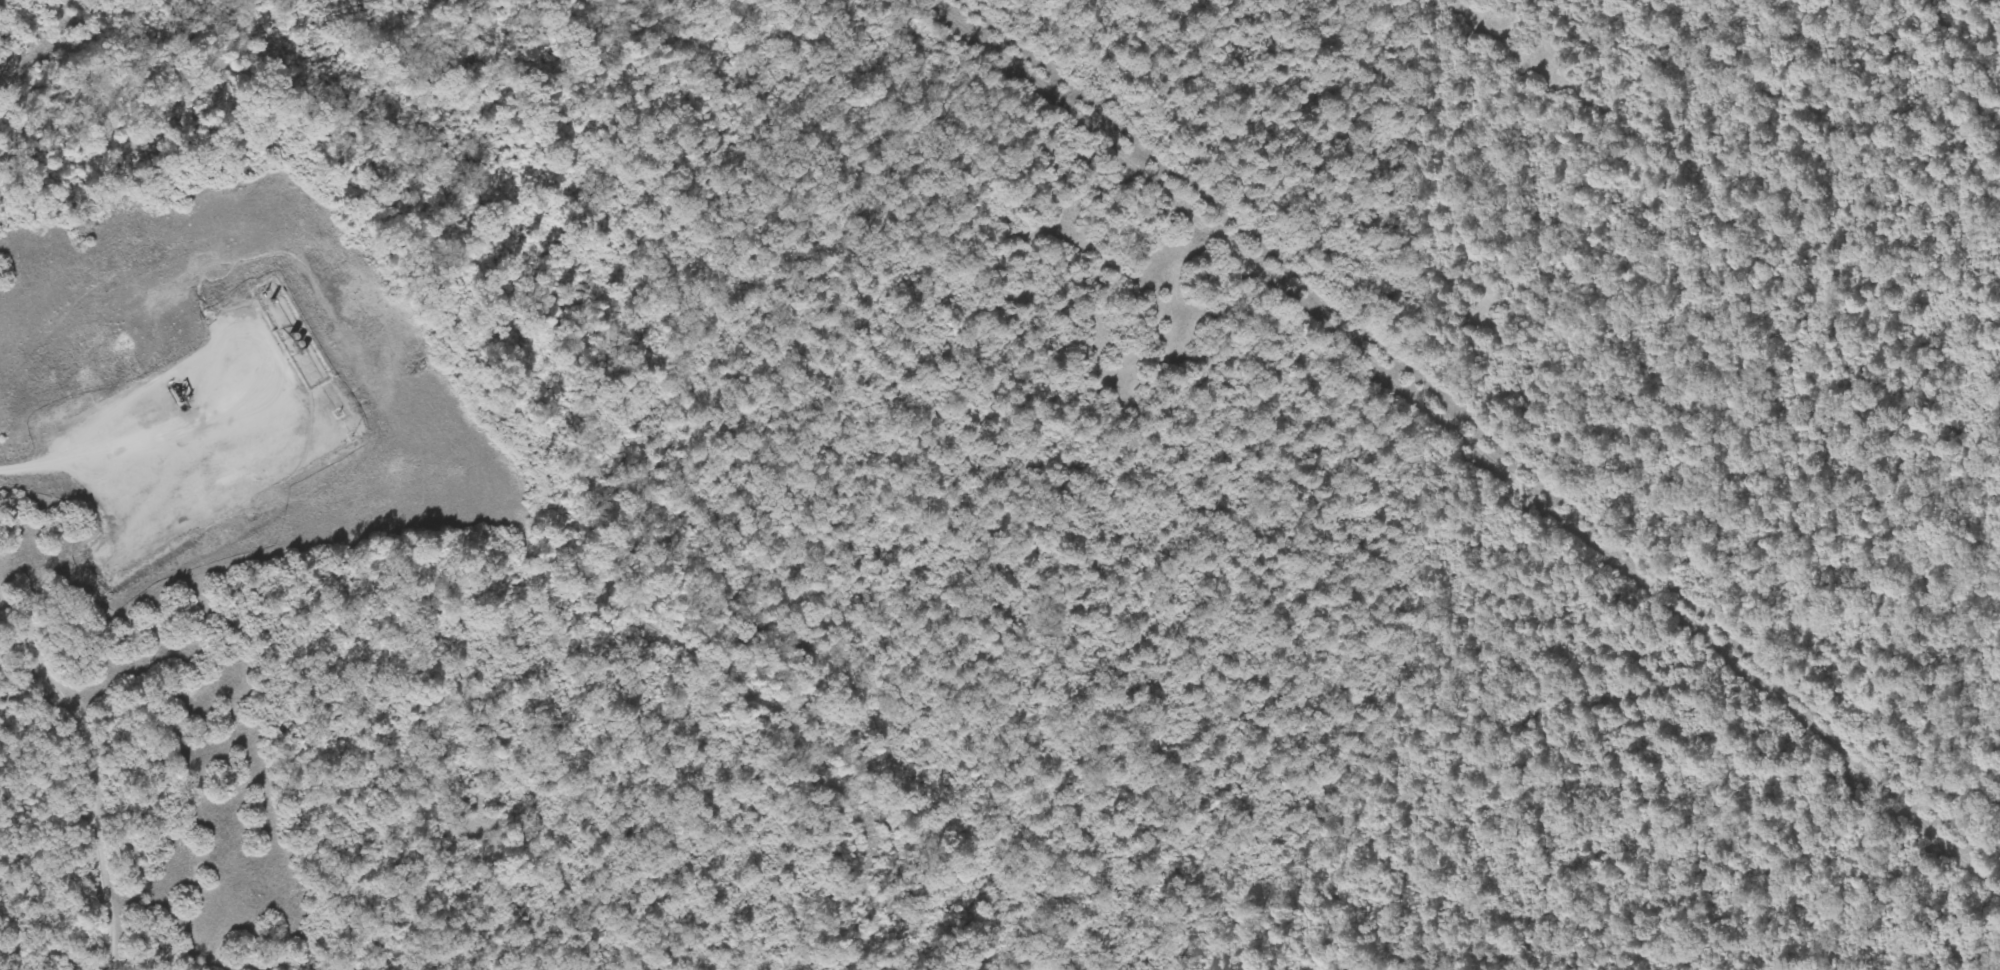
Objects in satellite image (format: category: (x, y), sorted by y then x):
road: (31, 46)

